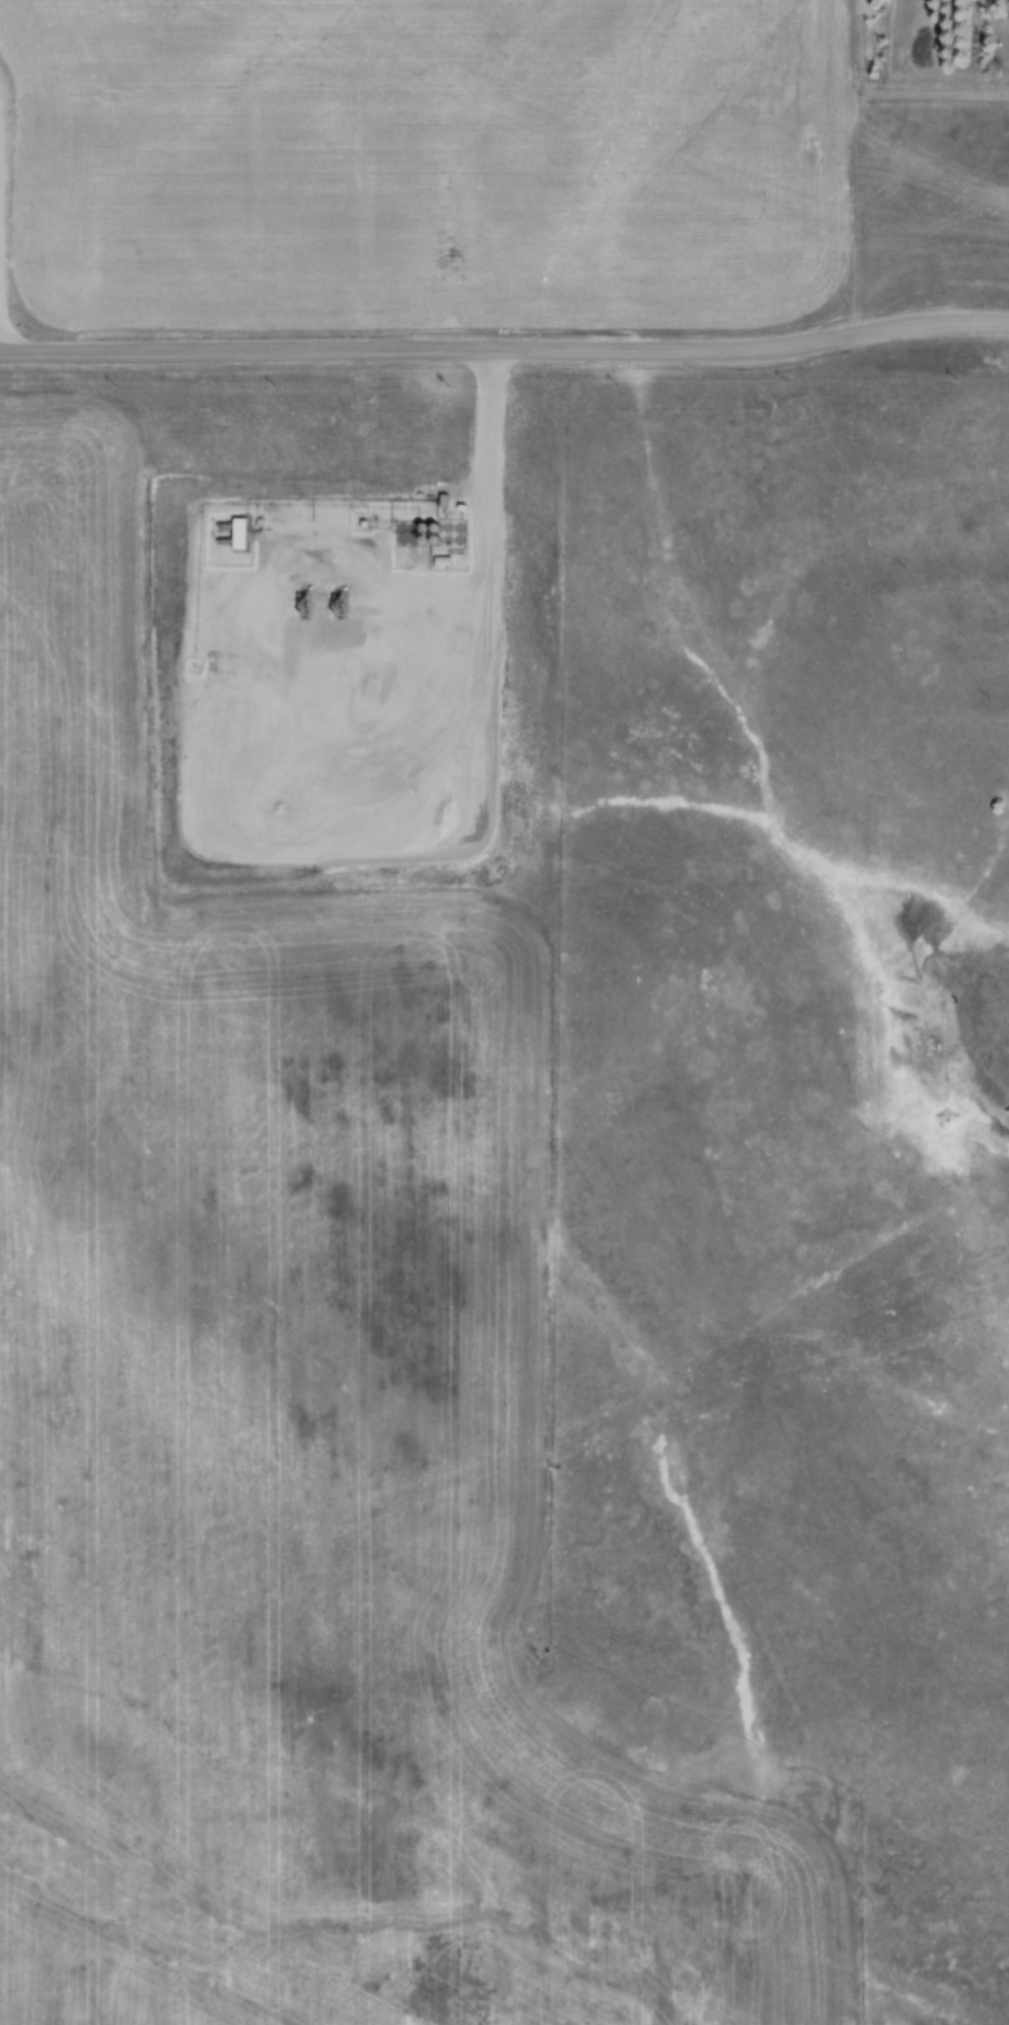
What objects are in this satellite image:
road: (933, 96)
road: (859, 176)
road: (505, 351)

